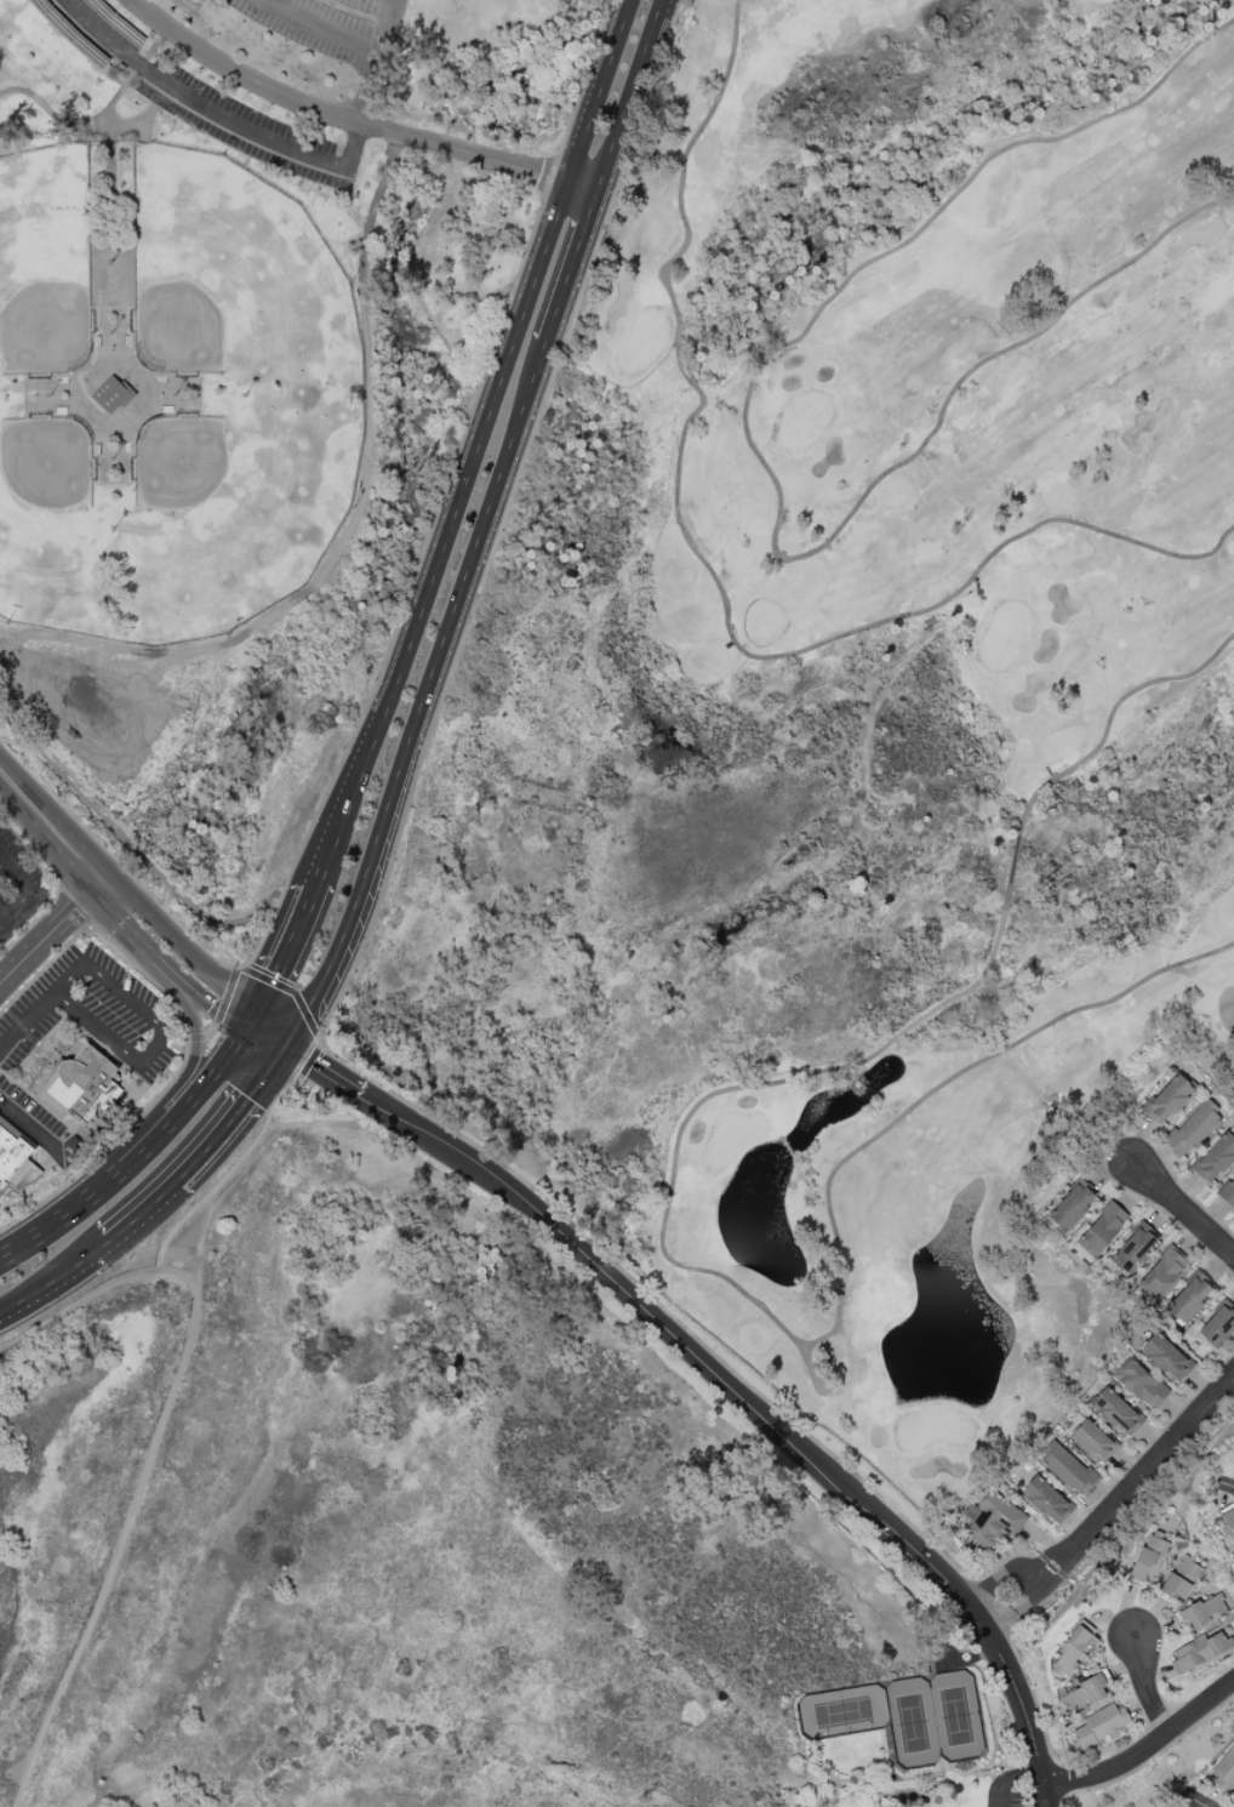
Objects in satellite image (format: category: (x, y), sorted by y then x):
parking lot: (330, 24)
road: (319, 27)
road: (97, 64)
road: (583, 90)
road: (630, 93)
parking lot: (196, 98)
road: (352, 120)
road: (79, 127)
road: (272, 141)
road: (569, 263)
park: (241, 388)
building: (110, 394)
park: (166, 394)
road: (476, 445)
road: (503, 521)
road: (412, 587)
road: (424, 696)
park: (835, 707)
road: (50, 827)
road: (130, 842)
road: (2, 861)
road: (16, 872)
parking lot: (18, 884)
road: (107, 901)
road: (12, 908)
road: (50, 933)
road: (184, 944)
road: (284, 953)
road: (181, 976)
road: (291, 991)
road: (219, 1011)
parking lot: (88, 1013)
road: (27, 1021)
traffic signals: (255, 1021)
road: (195, 1030)
road: (270, 1031)
road: (159, 1034)
road: (187, 1038)
traffic signals: (287, 1042)
road: (308, 1061)
building: (84, 1089)
road: (200, 1089)
building: (1167, 1100)
parking lot: (30, 1106)
road: (33, 1127)
building: (1192, 1130)
road: (200, 1150)
building: (15, 1158)
building: (1216, 1159)
road: (229, 1168)
building: (1228, 1192)
building: (1072, 1207)
road: (73, 1208)
road: (1184, 1210)
building: (1102, 1226)
building: (1132, 1249)
building: (1161, 1275)
road: (50, 1279)
road: (652, 1298)
building: (1188, 1301)
building: (1216, 1323)
building: (1165, 1357)
road: (719, 1381)
building: (1139, 1384)
building: (1115, 1412)
building: (1093, 1441)
road: (152, 1448)
building: (1233, 1455)
building: (1068, 1470)
road: (1228, 1487)
building: (1045, 1501)
road: (1110, 1501)
park: (377, 1517)
building: (993, 1521)
building: (1228, 1529)
road: (1122, 1547)
building: (1149, 1557)
building: (1182, 1579)
building: (1204, 1612)
building: (1072, 1651)
building: (1196, 1653)
road: (1146, 1685)
building: (1084, 1695)
building: (1101, 1725)
road: (1147, 1751)
building: (1224, 1772)
road: (1006, 1780)
road: (1196, 1802)

